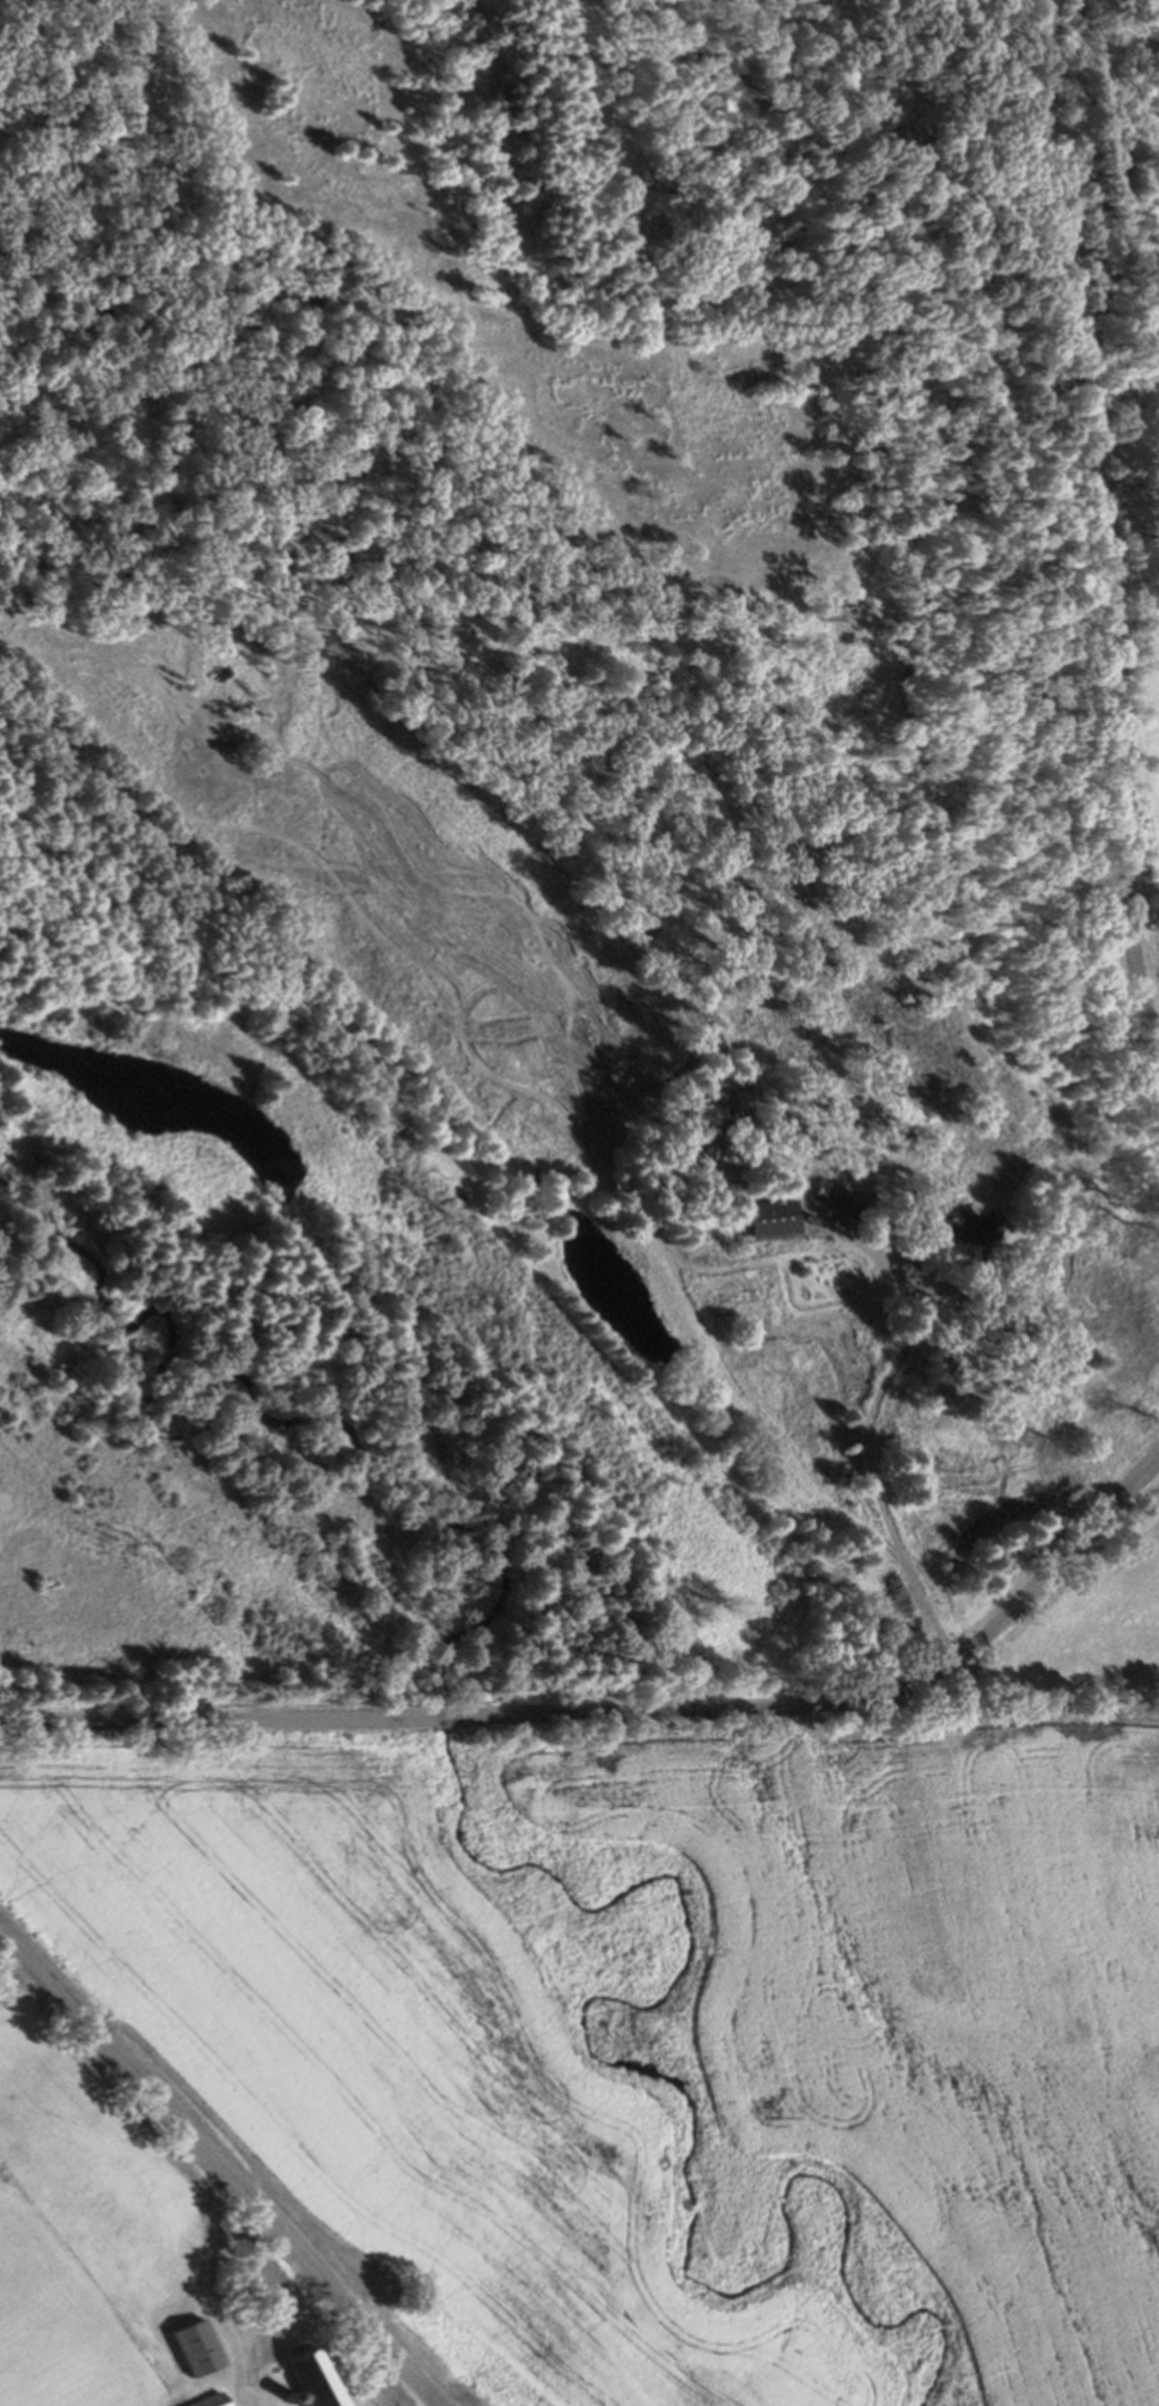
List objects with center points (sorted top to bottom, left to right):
road: (1075, 353)
road: (1123, 902)
building: (847, 1199)
building: (769, 1215)
building: (965, 1225)
road: (877, 1413)
river: (501, 1555)
road: (853, 1700)
road: (444, 1718)
road: (216, 1721)
road: (219, 2166)
river: (782, 2197)
building: (211, 2347)
building: (328, 2381)
building: (224, 2400)

